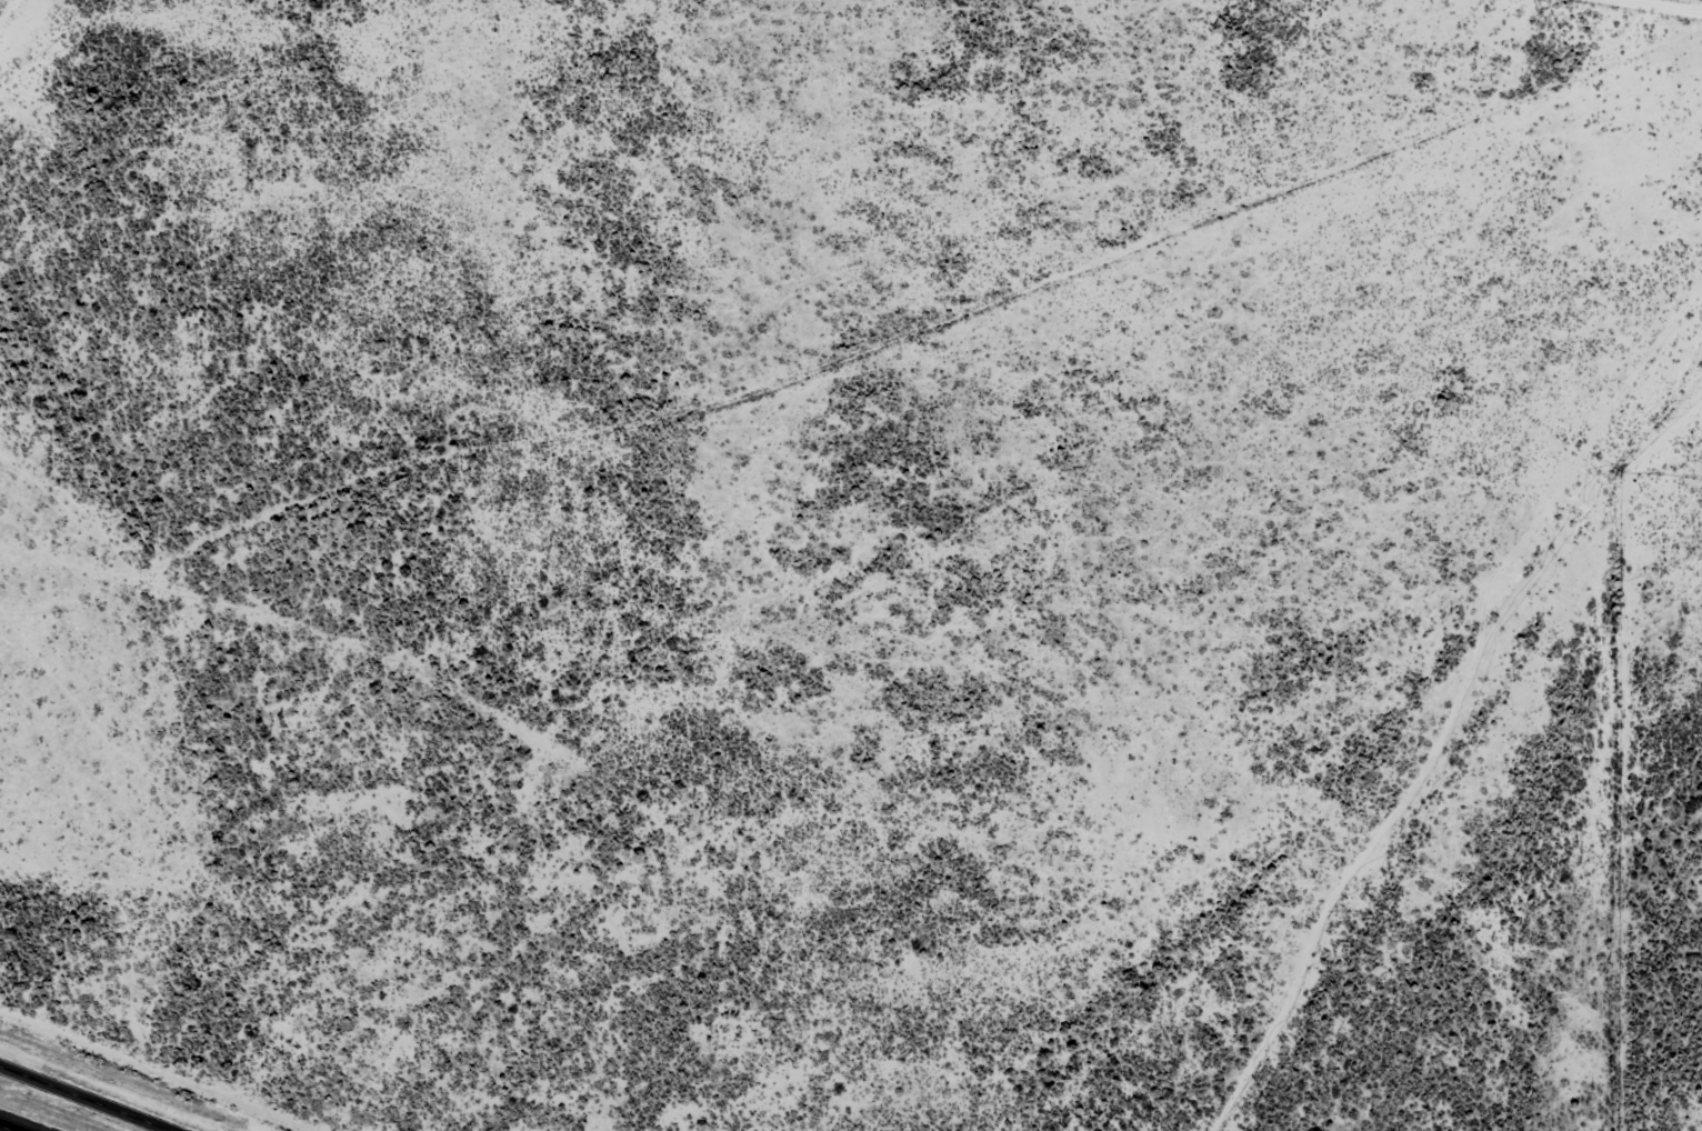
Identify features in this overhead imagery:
road: (91, 1095)
road: (18, 1123)

